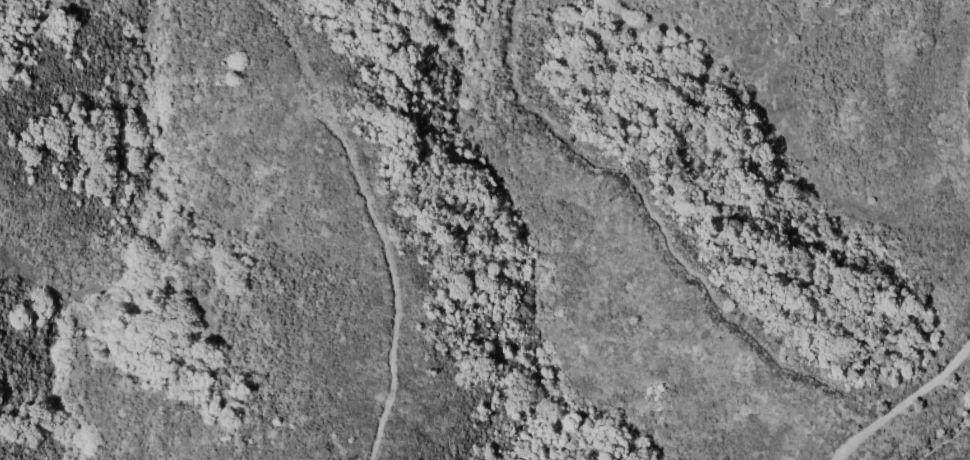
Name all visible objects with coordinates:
road: (906, 406)
road: (944, 441)

